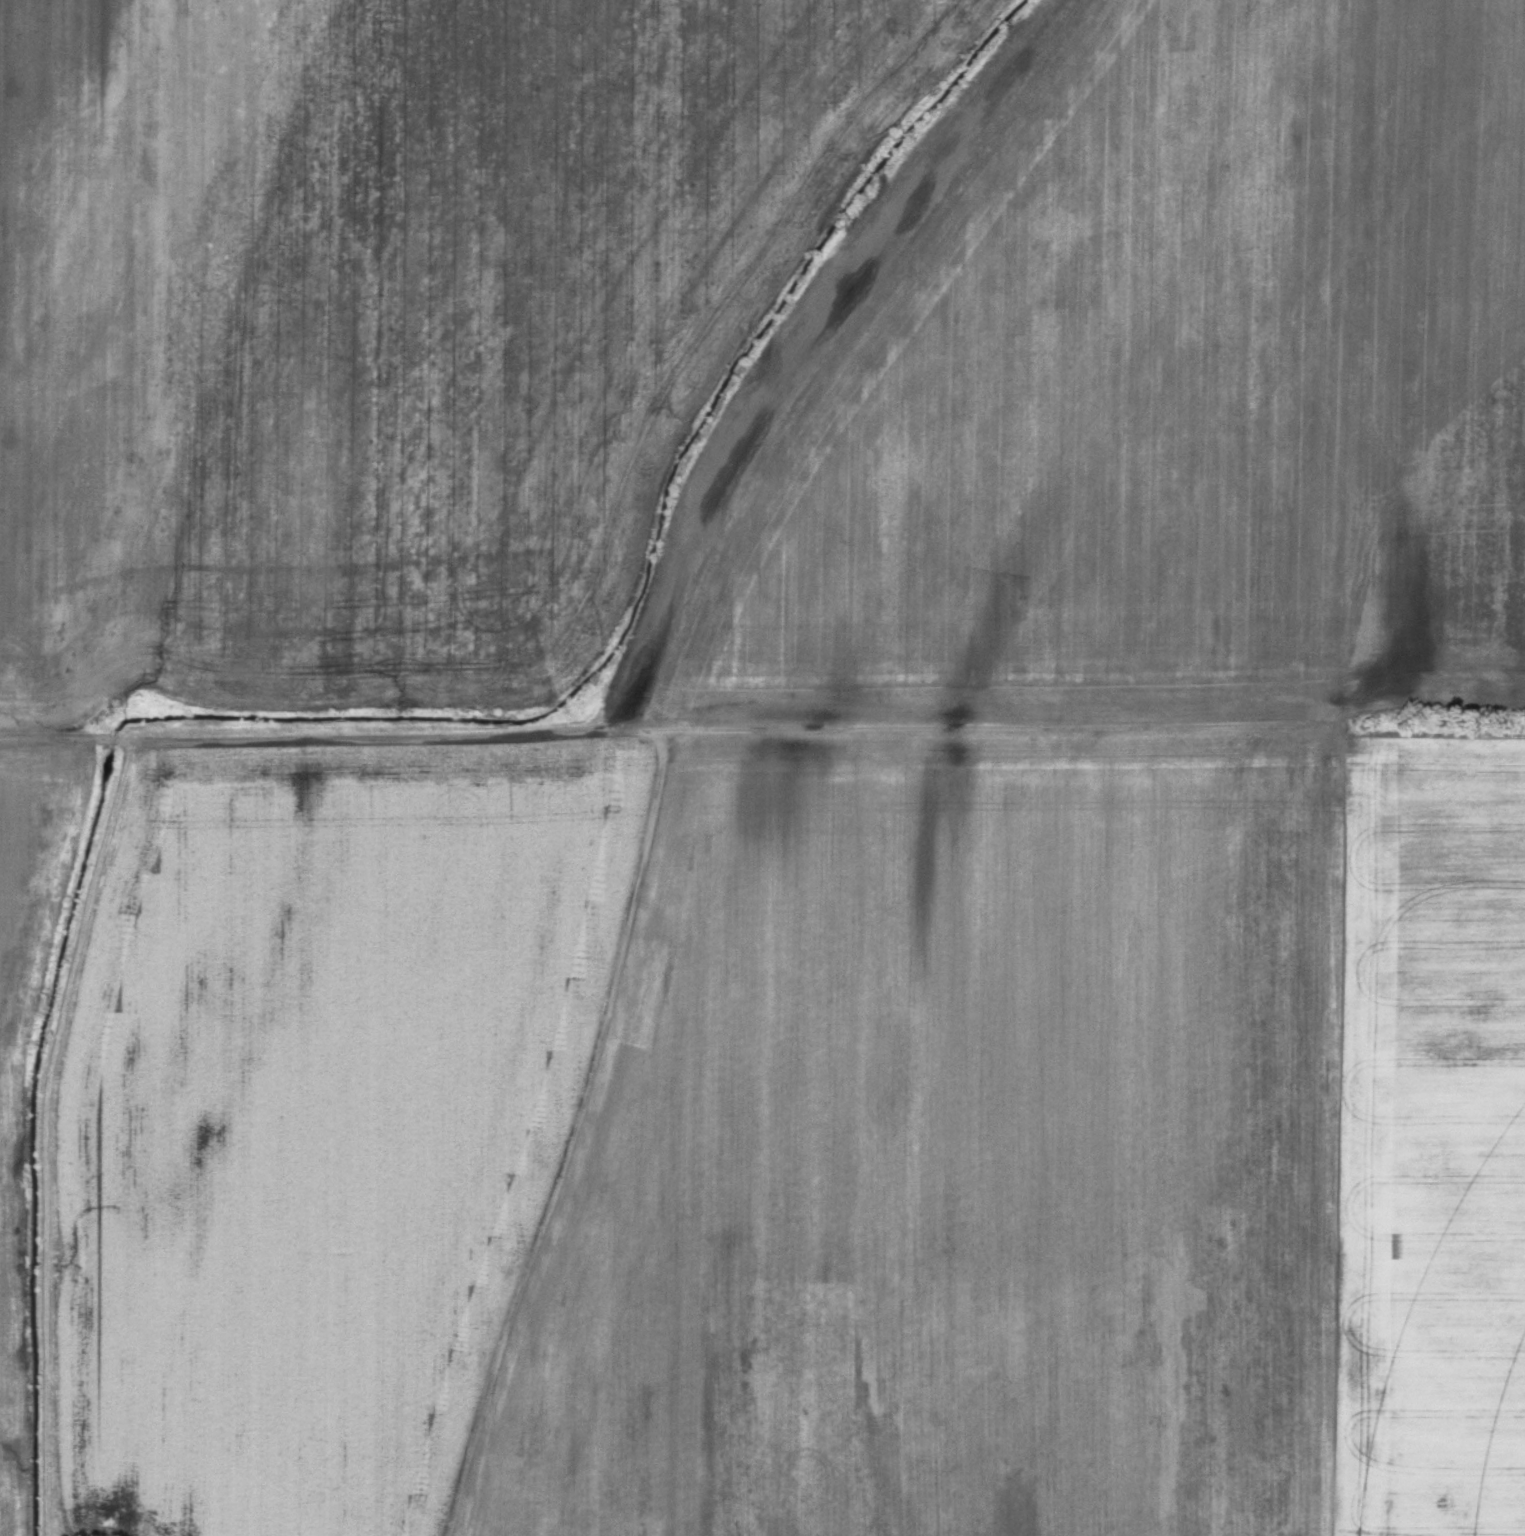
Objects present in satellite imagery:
road: (656, 728)

